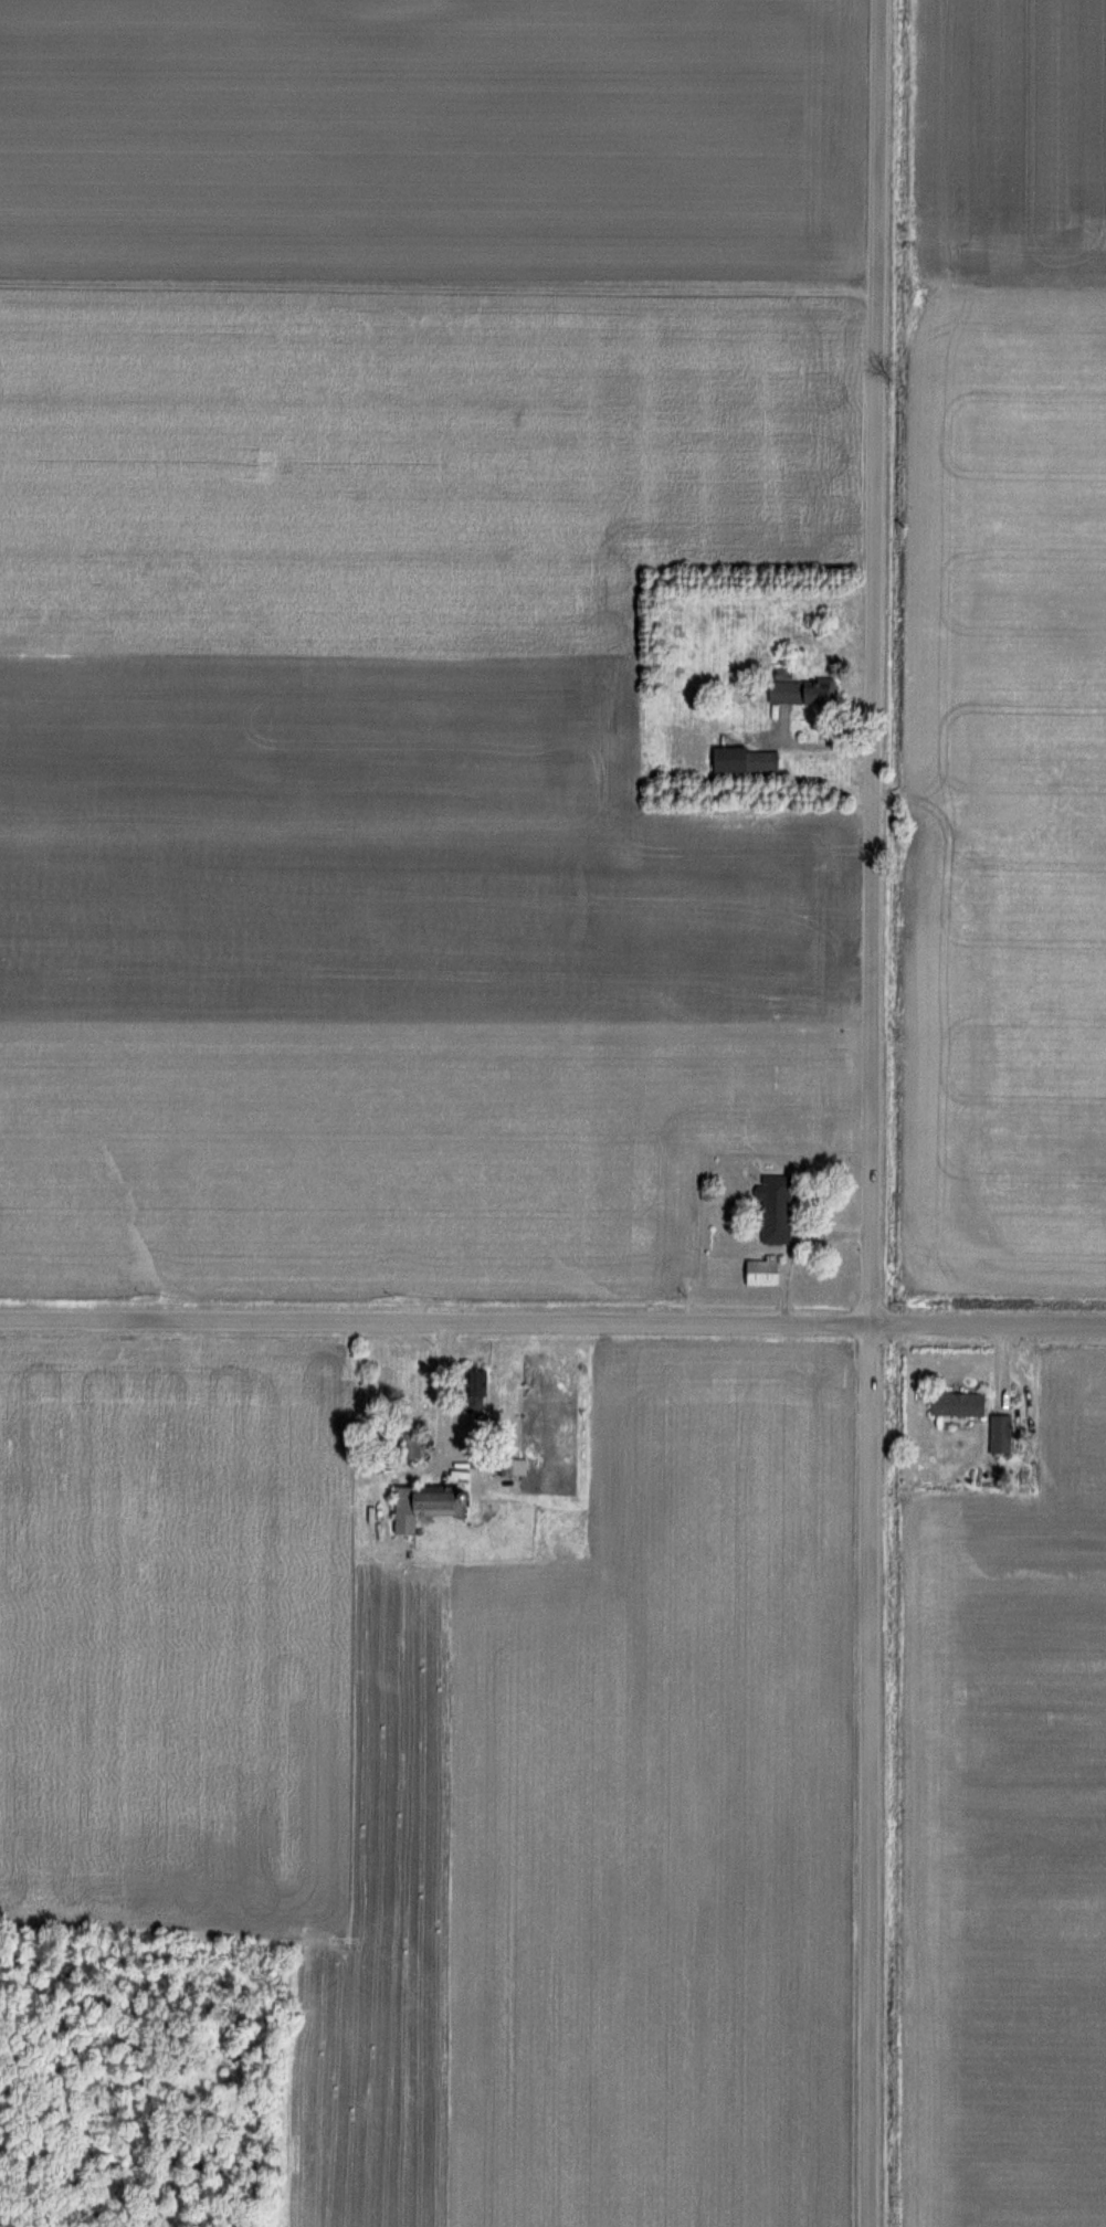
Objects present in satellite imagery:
building: (800, 690)
building: (744, 760)
road: (875, 1112)
building: (772, 1209)
building: (760, 1269)
road: (436, 1319)
road: (990, 1327)
road: (443, 1385)
building: (475, 1390)
building: (956, 1403)
building: (409, 1445)
building: (506, 1464)
building: (425, 1505)

